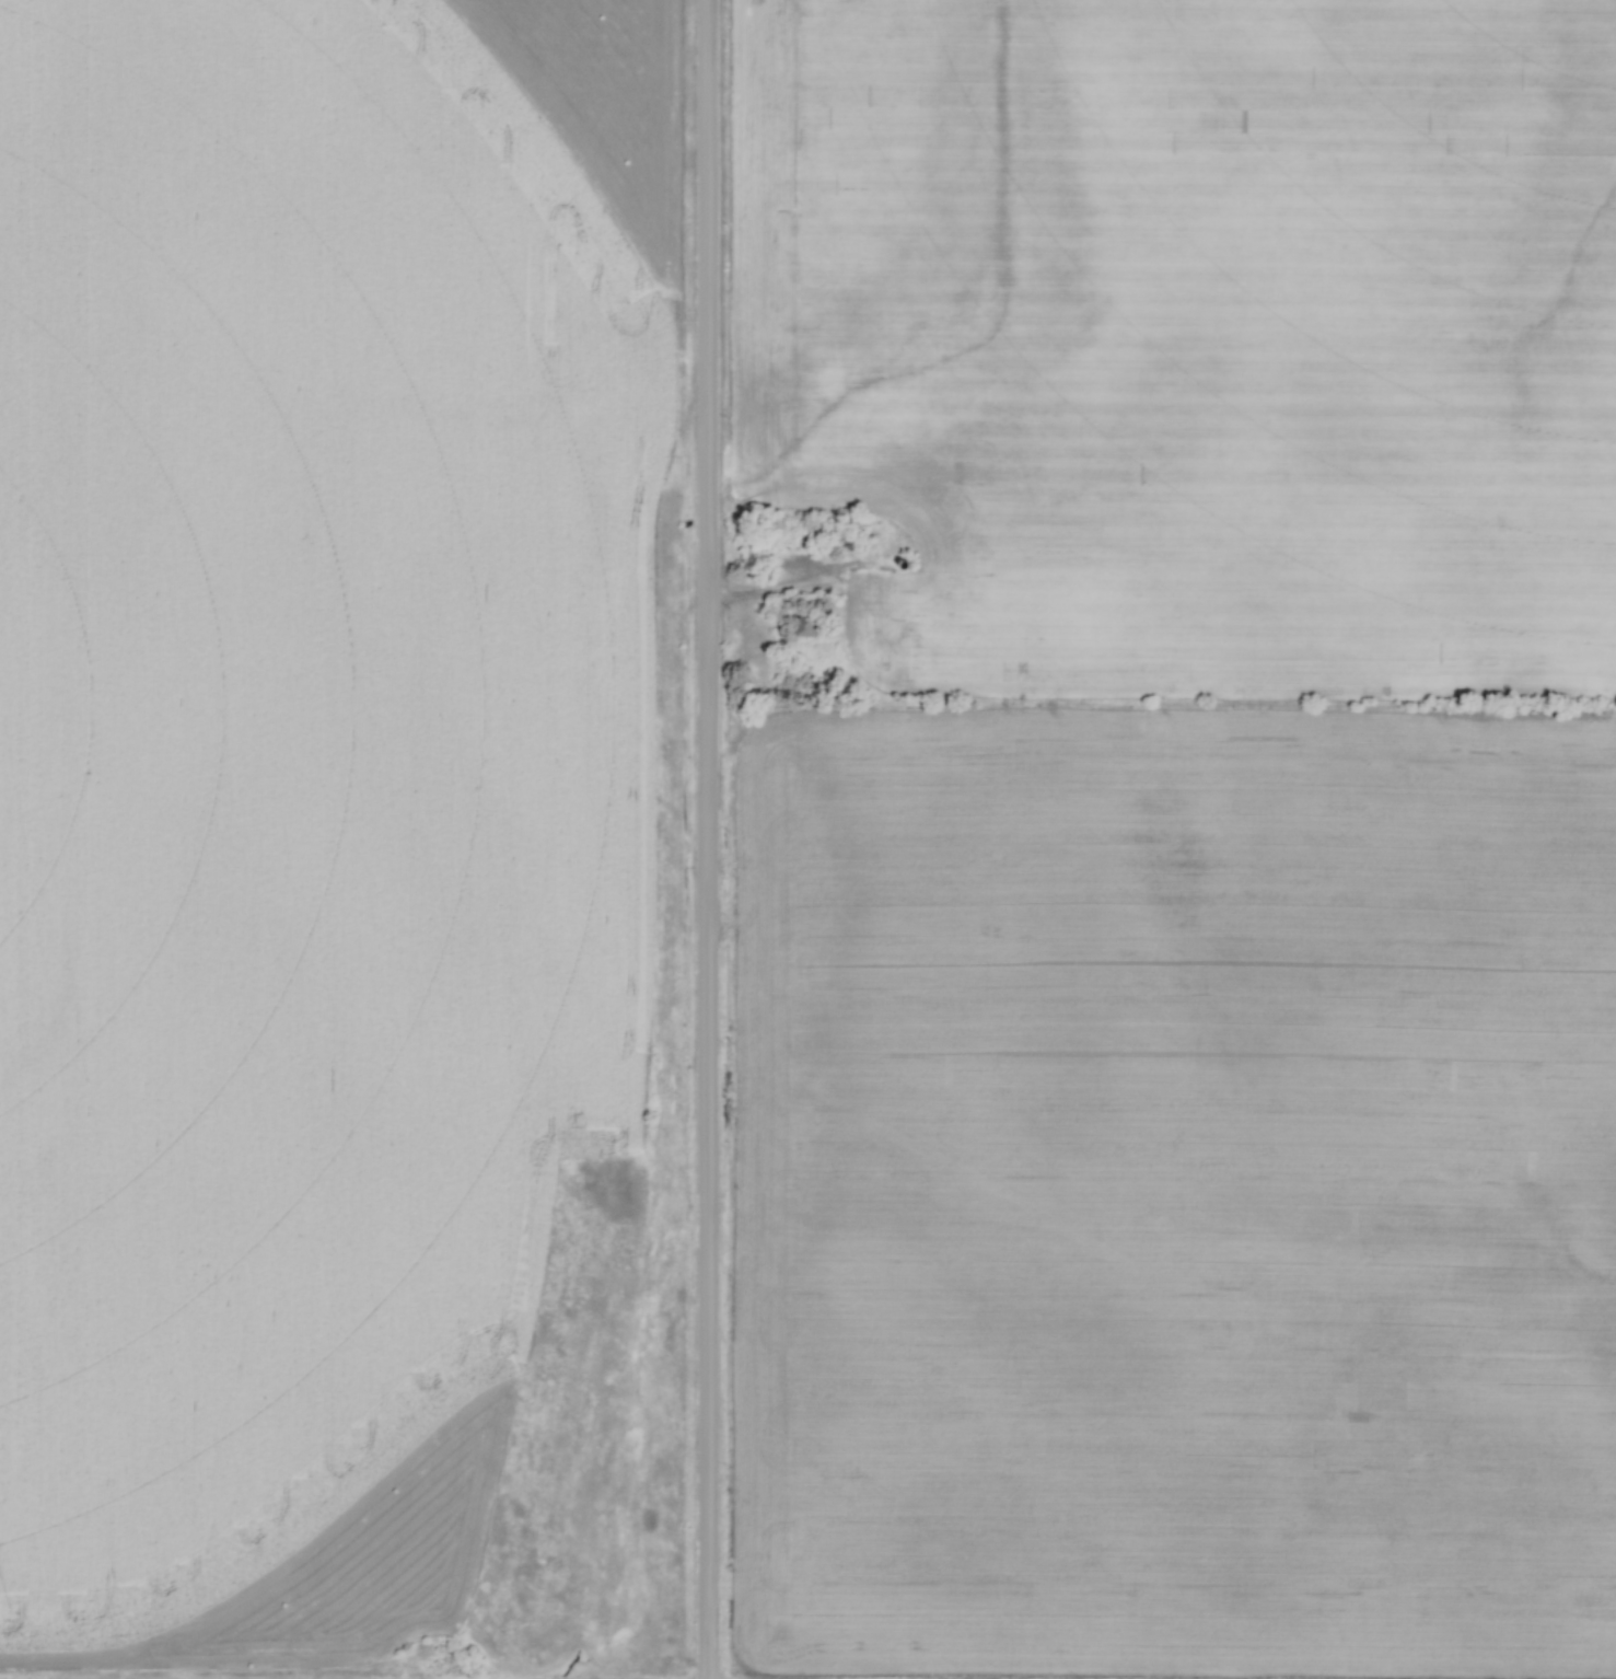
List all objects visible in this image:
building: (805, 541)
road: (707, 838)

